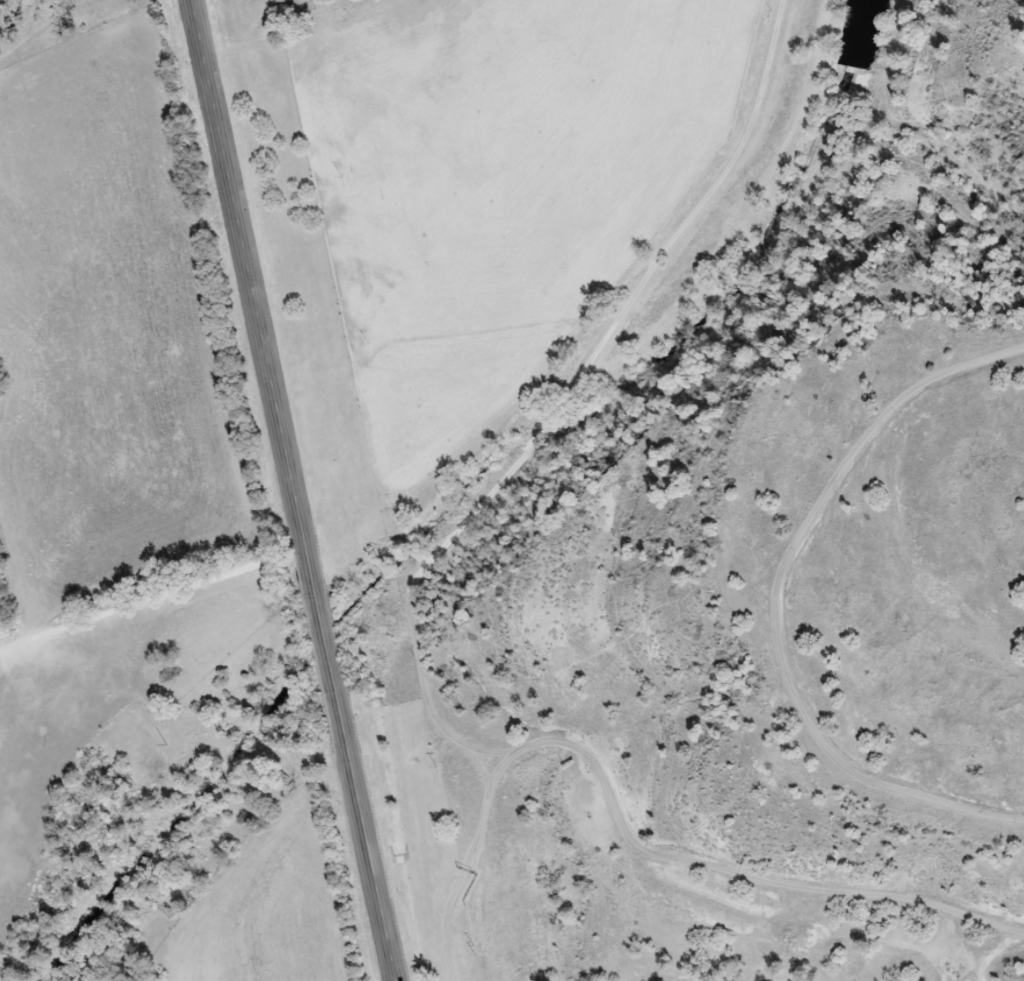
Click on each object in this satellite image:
road: (295, 490)
road: (154, 605)

